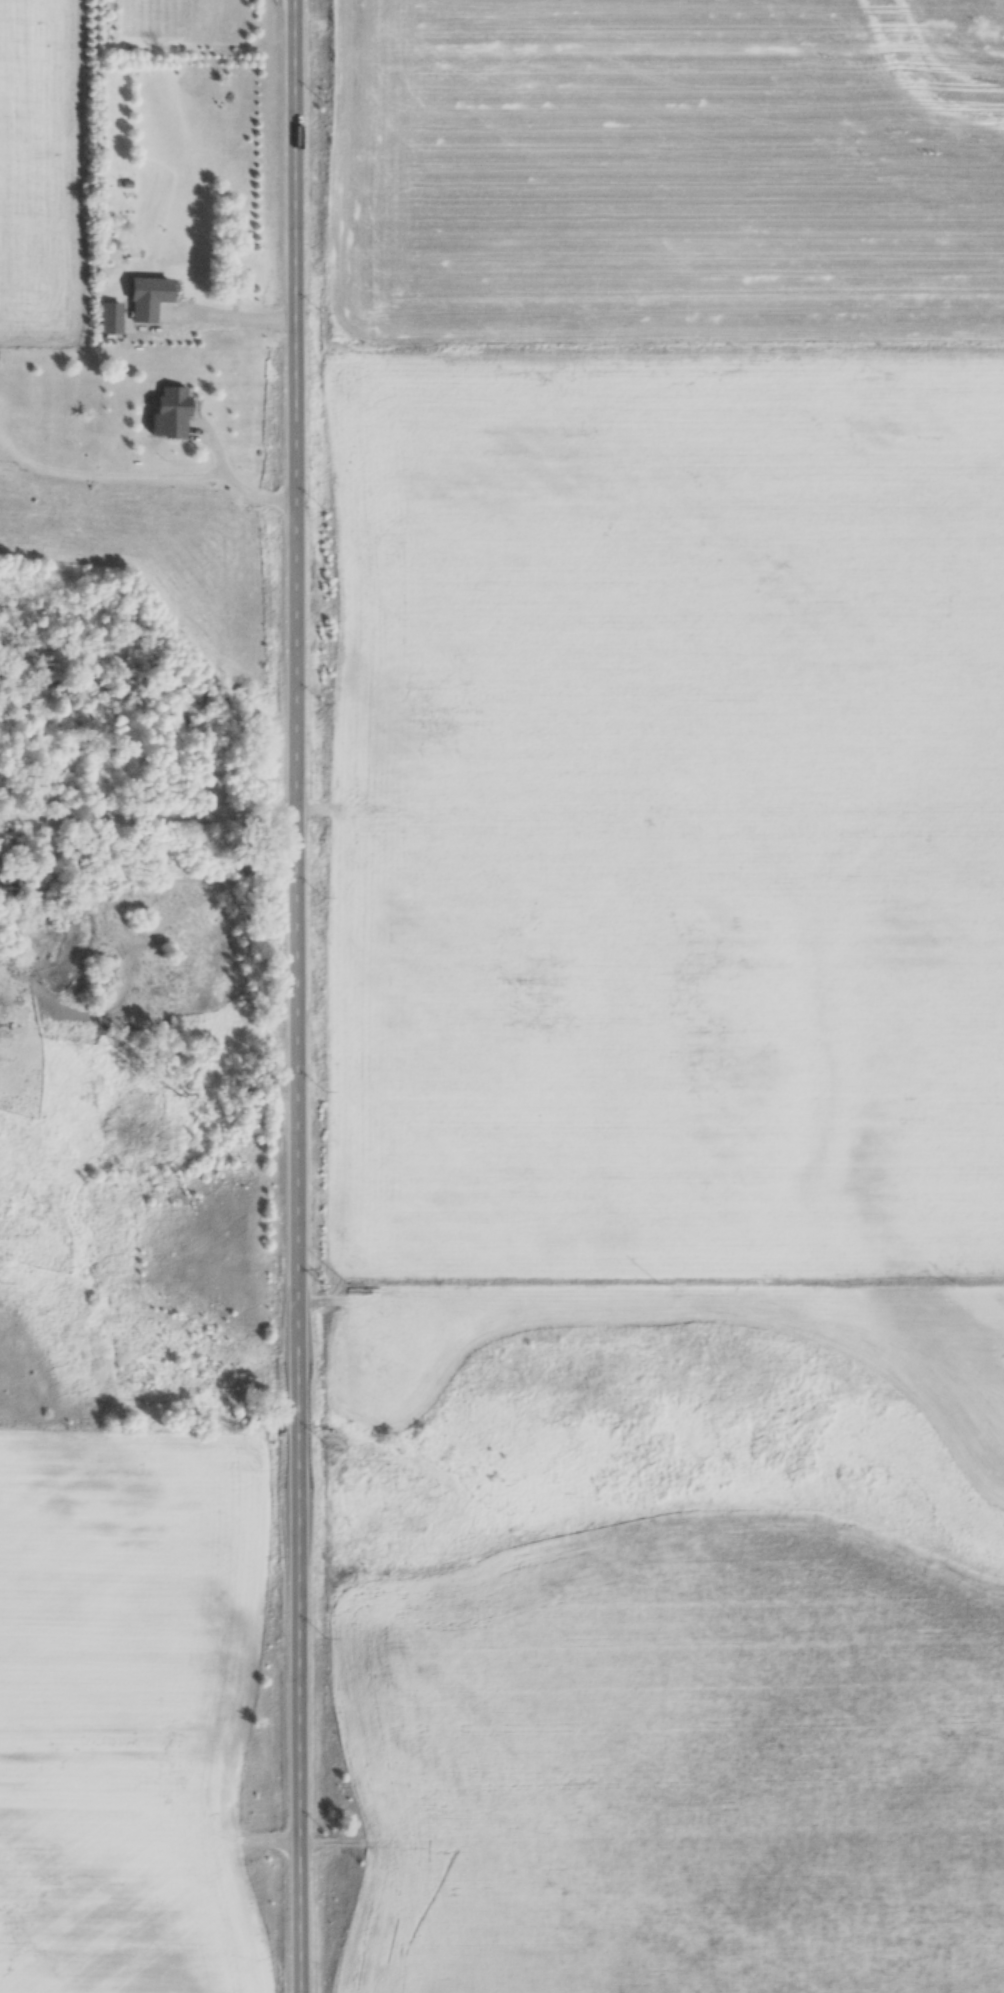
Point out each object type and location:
road: (220, 323)
building: (166, 411)
road: (299, 996)
power tower: (328, 1279)

